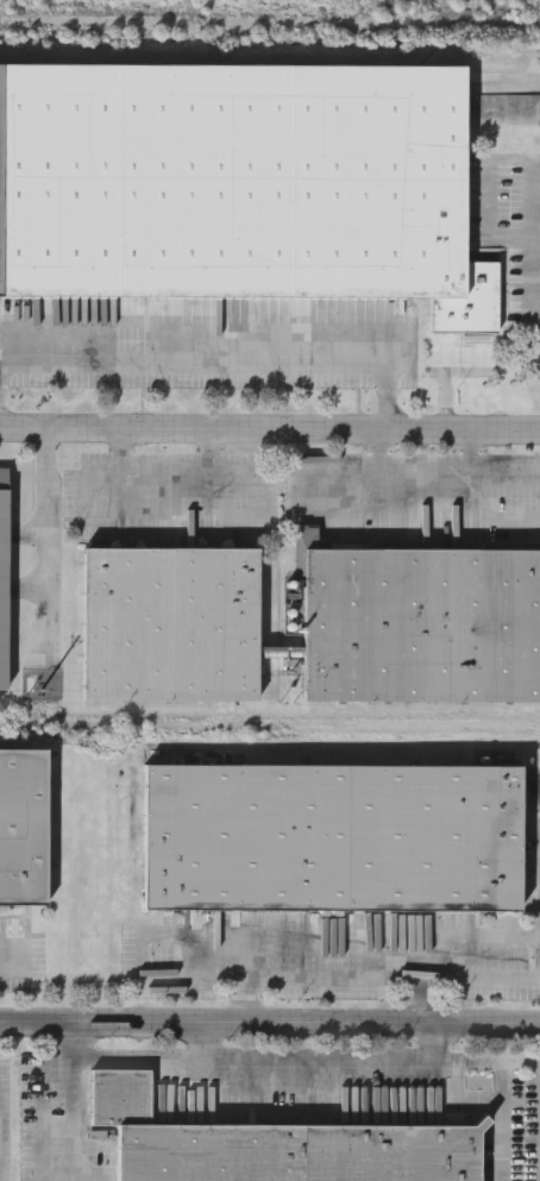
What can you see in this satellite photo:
railway: (258, 23)
railway: (207, 58)
road: (494, 164)
building: (238, 188)
road: (535, 235)
road: (530, 271)
road: (222, 364)
road: (445, 379)
road: (269, 429)
road: (167, 482)
road: (425, 483)
road: (44, 514)
road: (491, 517)
building: (2, 579)
building: (169, 624)
building: (421, 626)
building: (23, 827)
building: (332, 838)
road: (369, 975)
road: (414, 999)
road: (270, 1023)
road: (203, 1041)
road: (238, 1058)
road: (503, 1073)
building: (271, 1145)

